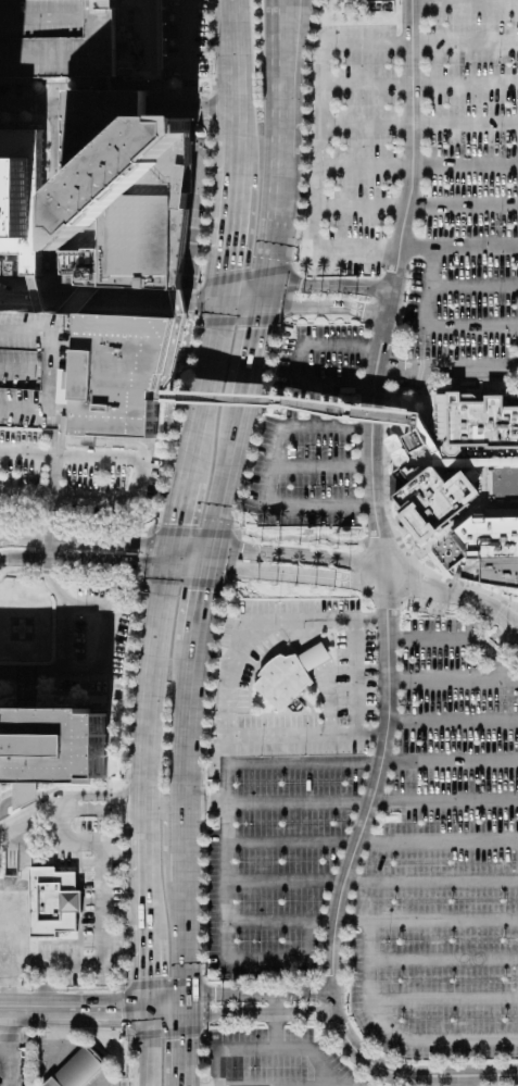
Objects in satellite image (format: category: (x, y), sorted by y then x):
road: (213, 2)
road: (232, 5)
road: (465, 5)
road: (189, 37)
building: (144, 38)
building: (61, 39)
parking garage: (61, 39)
road: (168, 40)
road: (214, 55)
road: (235, 75)
road: (283, 78)
road: (175, 79)
road: (186, 79)
road: (24, 83)
road: (60, 83)
road: (421, 85)
road: (121, 87)
road: (190, 92)
road: (59, 93)
road: (176, 97)
road: (191, 97)
road: (212, 107)
road: (31, 110)
road: (192, 110)
road: (26, 117)
road: (420, 126)
road: (304, 133)
parking lot: (351, 151)
road: (320, 155)
road: (235, 162)
road: (419, 165)
parking lot: (469, 189)
building: (126, 192)
road: (211, 197)
building: (21, 198)
road: (197, 201)
road: (408, 203)
road: (417, 205)
road: (271, 227)
road: (46, 228)
road: (230, 241)
building: (10, 266)
traffic signals: (229, 270)
road: (248, 275)
traffic signals: (302, 286)
road: (326, 286)
road: (473, 287)
road: (288, 290)
road: (131, 297)
traffic signals: (193, 298)
road: (200, 304)
road: (325, 308)
road: (136, 311)
road: (241, 321)
road: (429, 326)
traffic signals: (256, 329)
road: (252, 348)
road: (273, 352)
road: (421, 362)
road: (300, 364)
road: (210, 365)
building: (40, 367)
parking garage: (40, 367)
road: (446, 370)
building: (123, 373)
road: (448, 379)
road: (353, 409)
road: (426, 412)
building: (475, 424)
building: (424, 427)
road: (55, 434)
road: (63, 435)
parking lot: (311, 435)
building: (416, 441)
road: (108, 442)
road: (386, 446)
road: (321, 466)
road: (247, 470)
road: (225, 472)
road: (140, 473)
road: (268, 478)
road: (54, 490)
road: (181, 498)
building: (427, 510)
road: (42, 519)
road: (52, 521)
road: (159, 521)
traffic signals: (177, 522)
road: (22, 530)
road: (197, 530)
road: (301, 537)
road: (86, 541)
road: (383, 542)
road: (191, 545)
traffic signals: (244, 548)
road: (41, 549)
road: (146, 552)
road: (298, 554)
road: (84, 559)
road: (230, 559)
traffic signals: (138, 562)
building: (498, 562)
road: (187, 564)
road: (18, 571)
road: (294, 576)
road: (448, 579)
road: (143, 582)
road: (186, 584)
traffic signals: (201, 590)
road: (454, 594)
road: (199, 599)
parking lot: (432, 600)
road: (496, 610)
road: (477, 617)
helipad: (23, 629)
road: (65, 636)
road: (106, 636)
parking lot: (270, 636)
road: (305, 636)
road: (4, 638)
road: (462, 638)
road: (241, 647)
building: (317, 658)
road: (317, 658)
parking lot: (355, 672)
road: (357, 677)
road: (453, 681)
building: (287, 682)
road: (8, 683)
road: (134, 685)
road: (209, 686)
road: (27, 689)
road: (26, 690)
road: (22, 694)
road: (8, 696)
road: (150, 698)
road: (328, 698)
road: (452, 721)
road: (306, 734)
building: (52, 746)
road: (108, 759)
road: (372, 761)
road: (102, 795)
road: (350, 801)
road: (9, 802)
road: (126, 802)
road: (203, 803)
road: (103, 809)
road: (29, 812)
road: (62, 823)
road: (362, 823)
road: (184, 829)
road: (371, 840)
road: (164, 841)
road: (79, 848)
road: (87, 860)
parking lot: (273, 861)
parking lot: (444, 861)
road: (61, 865)
road: (80, 871)
road: (371, 881)
road: (143, 889)
building: (53, 901)
road: (89, 901)
road: (99, 901)
road: (202, 906)
road: (102, 919)
road: (371, 919)
road: (81, 934)
road: (128, 940)
road: (60, 941)
road: (88, 948)
road: (226, 949)
road: (443, 957)
road: (81, 961)
road: (144, 975)
road: (165, 983)
road: (46, 988)
road: (16, 989)
road: (45, 990)
road: (257, 994)
road: (443, 1000)
road: (207, 1006)
traffic signals: (186, 1007)
road: (165, 1008)
road: (128, 1009)
traffic signals: (146, 1009)
road: (73, 1010)
road: (316, 1012)
road: (240, 1014)
road: (276, 1021)
road: (124, 1032)
road: (168, 1033)
road: (390, 1037)
road: (185, 1040)
road: (9, 1047)
road: (146, 1047)
road: (285, 1049)
road: (4, 1051)
road: (203, 1052)
parking lot: (275, 1057)
building: (78, 1069)
road: (216, 1069)
road: (185, 1081)
road: (465, 1081)

